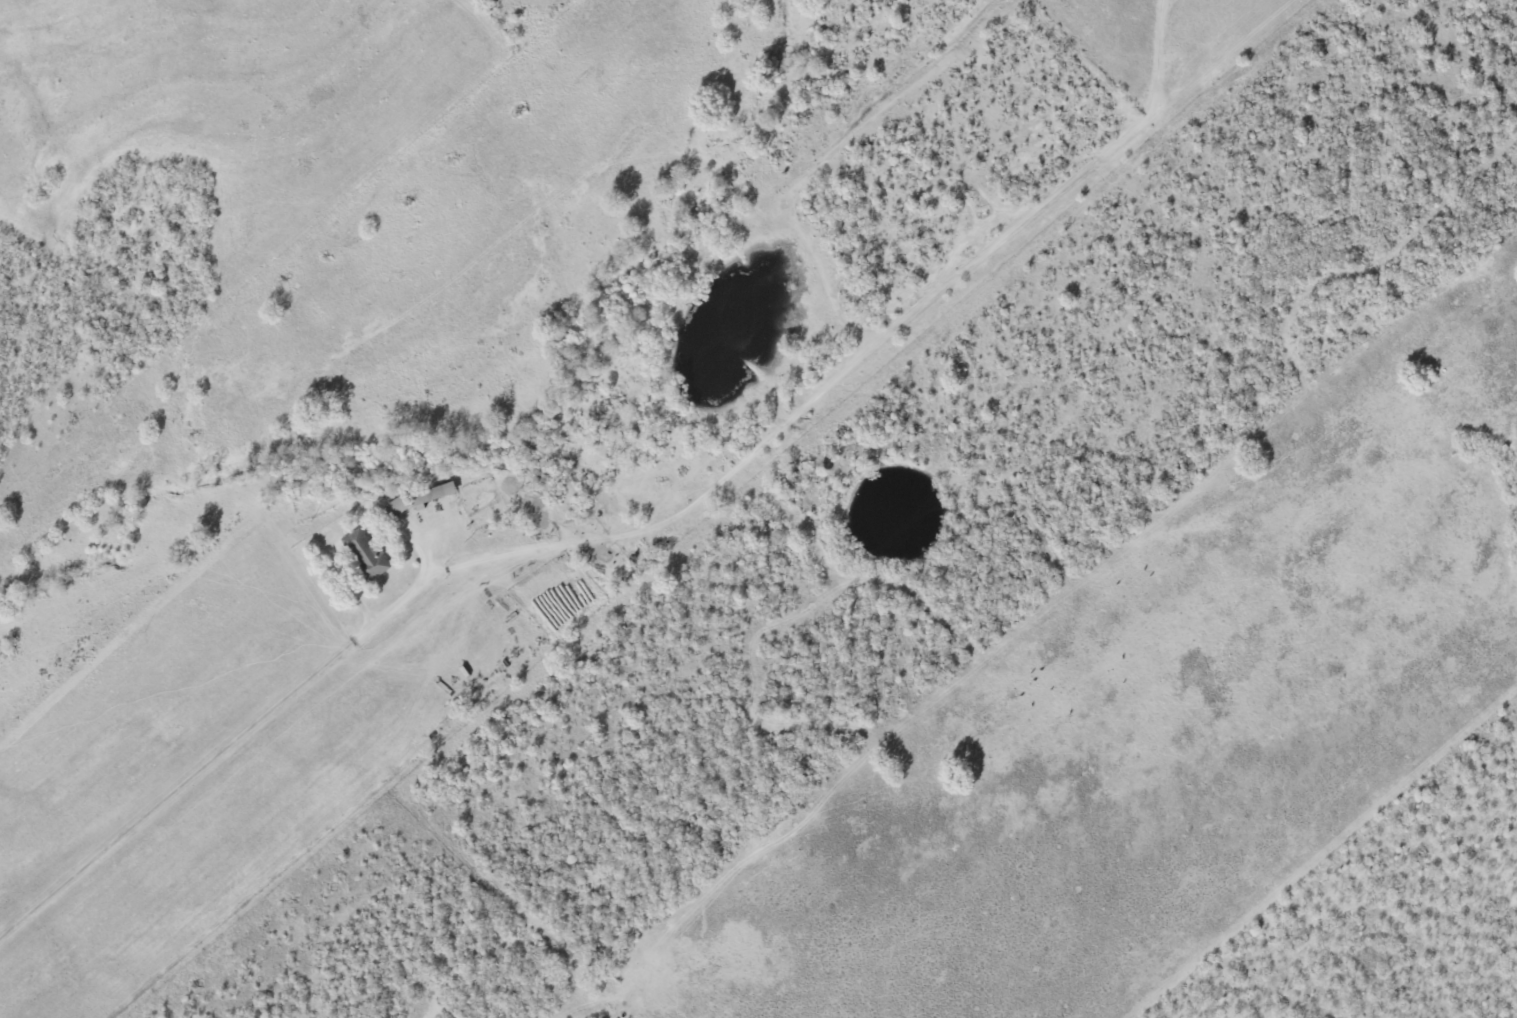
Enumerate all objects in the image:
building: (397, 506)
building: (364, 554)
road: (228, 750)

